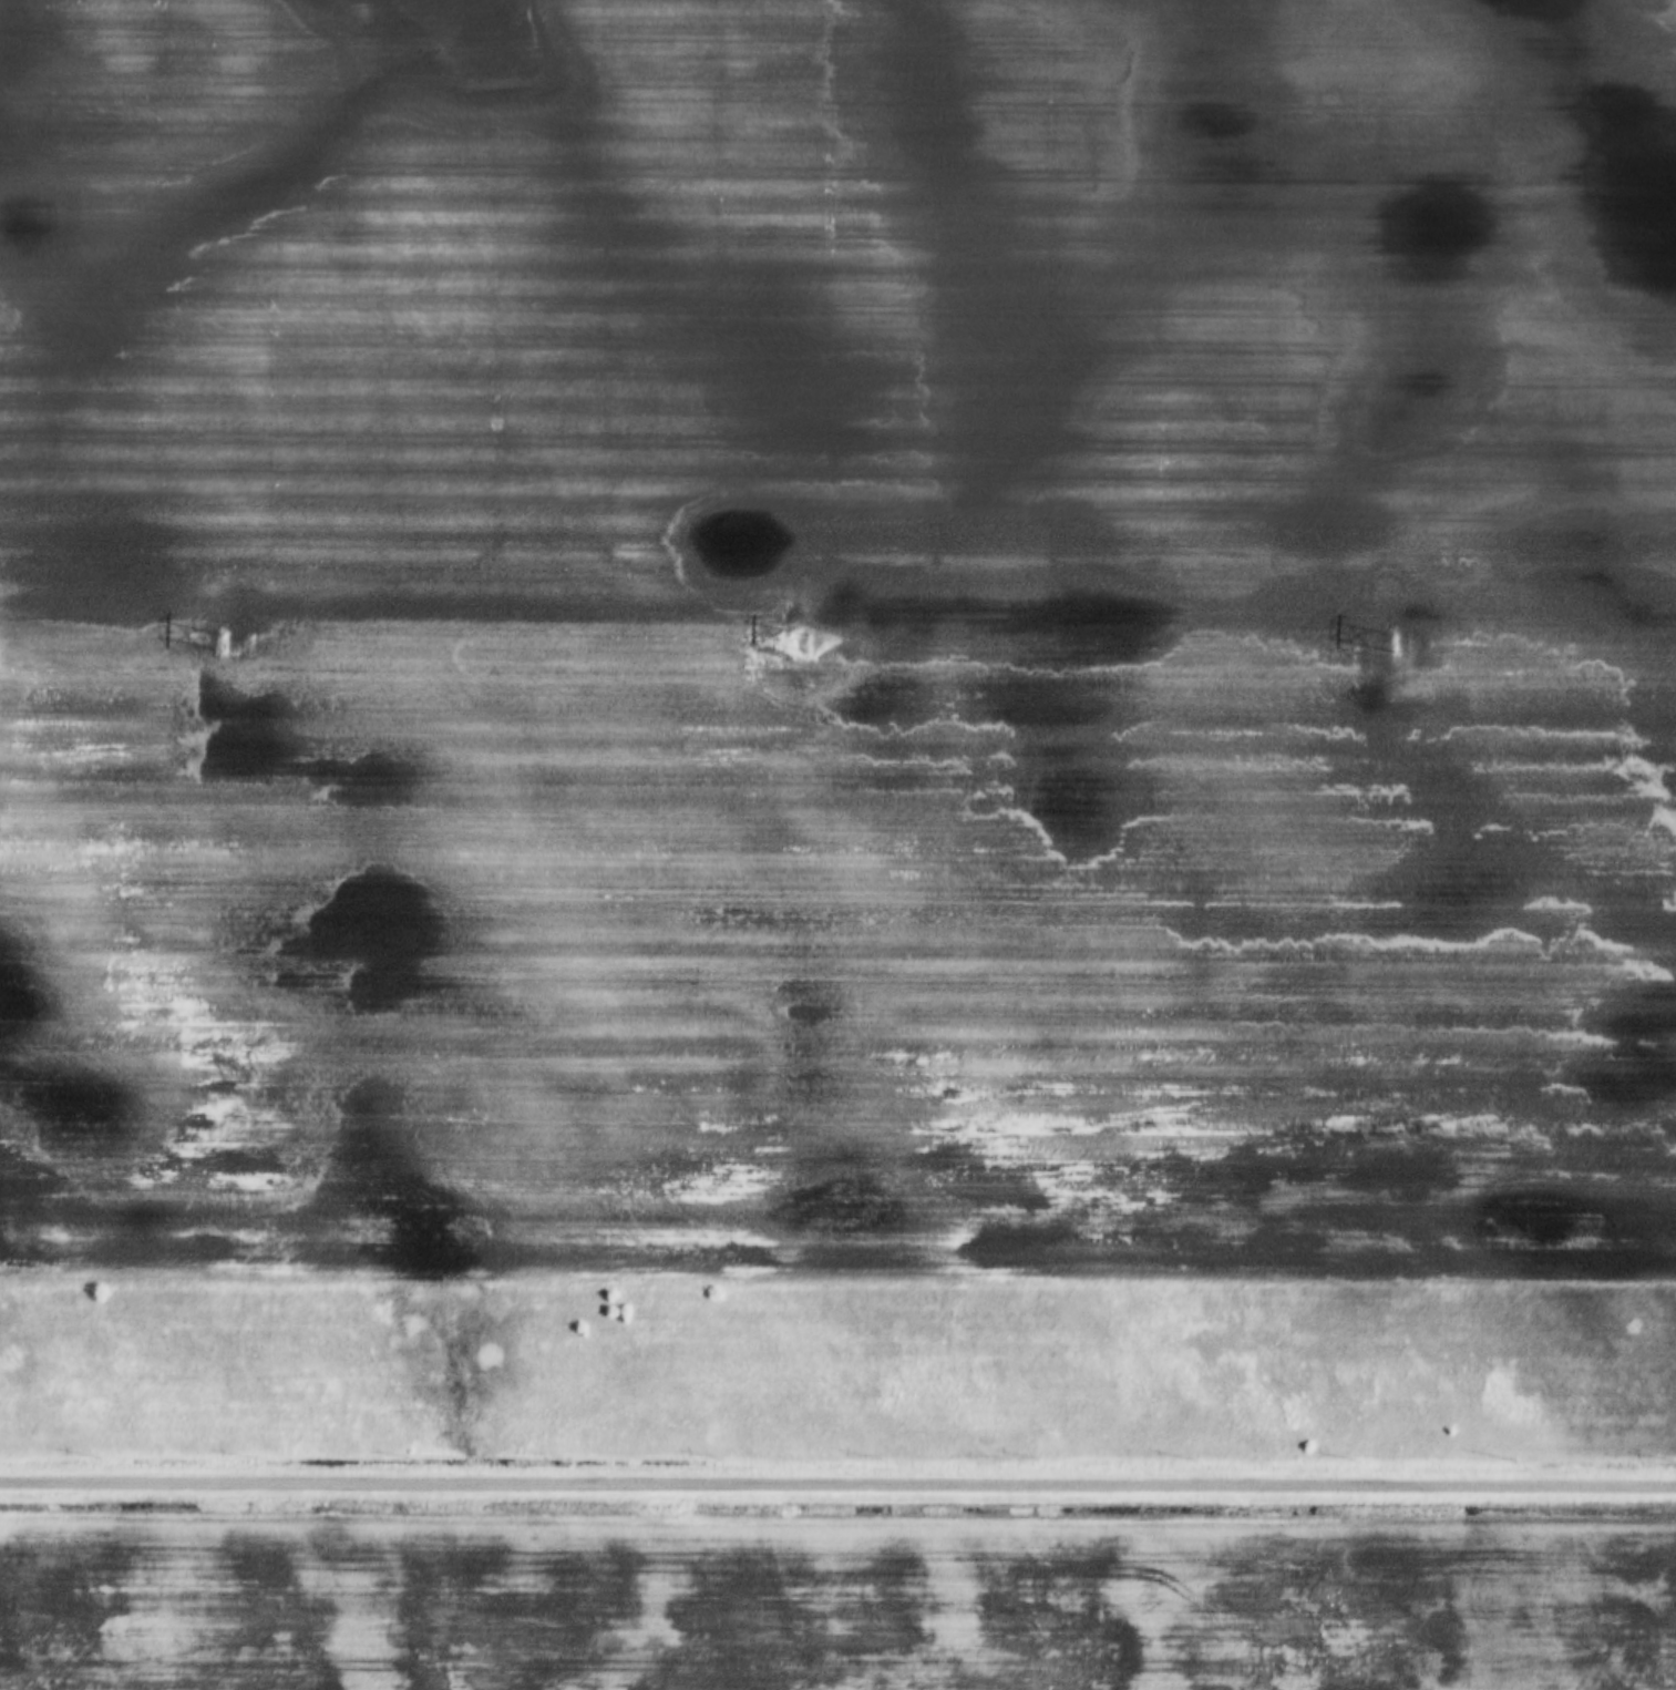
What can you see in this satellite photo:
power tower: (225, 643)
power tower: (809, 645)
power tower: (1406, 645)
crop: (837, 724)
road: (837, 1476)
crop: (832, 1598)

